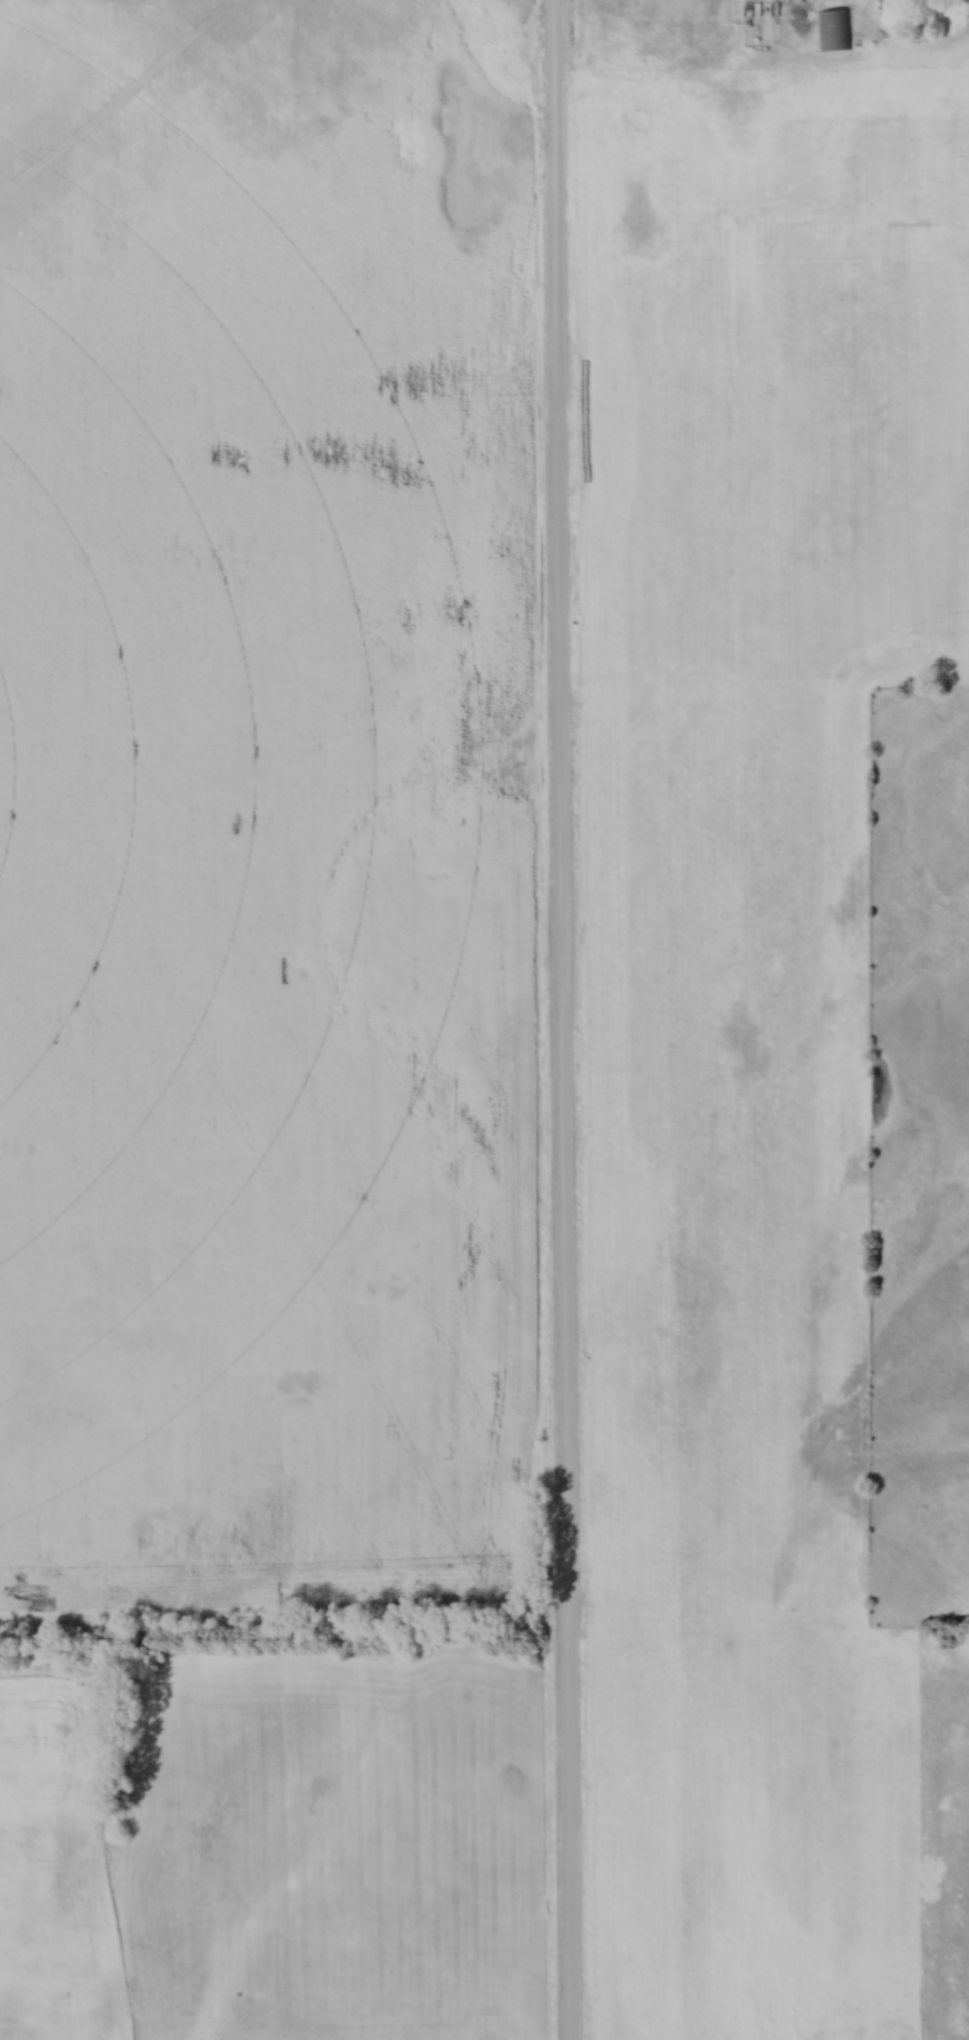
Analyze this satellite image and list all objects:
building: (831, 30)
road: (908, 45)
road: (562, 1019)

